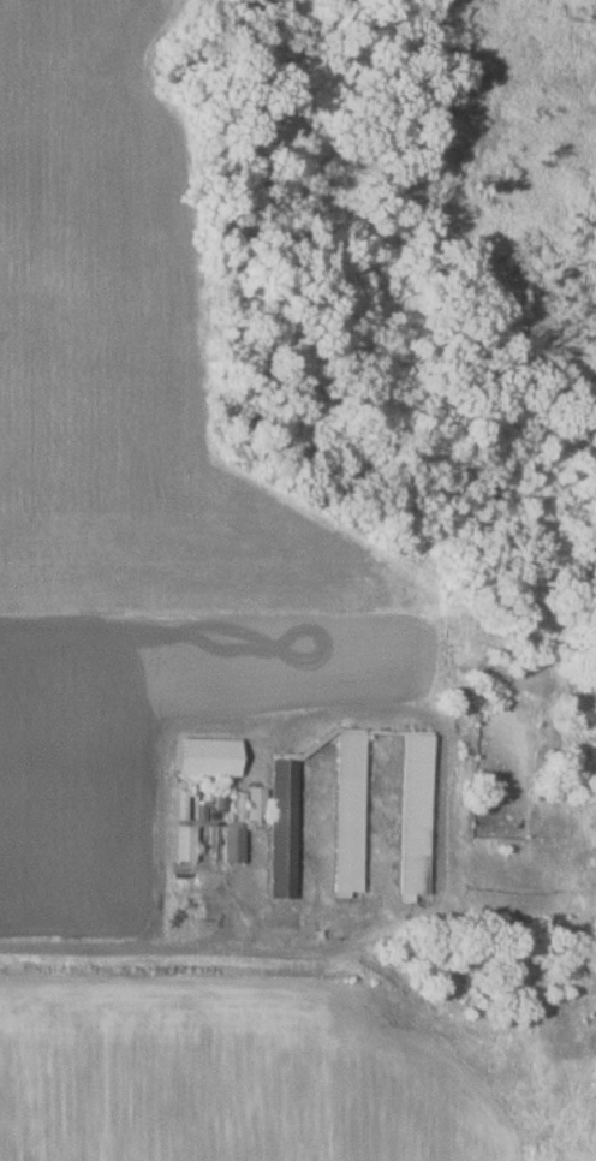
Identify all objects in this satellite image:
road: (435, 719)
building: (208, 758)
building: (348, 815)
building: (415, 818)
building: (195, 820)
building: (243, 823)
road: (78, 939)

